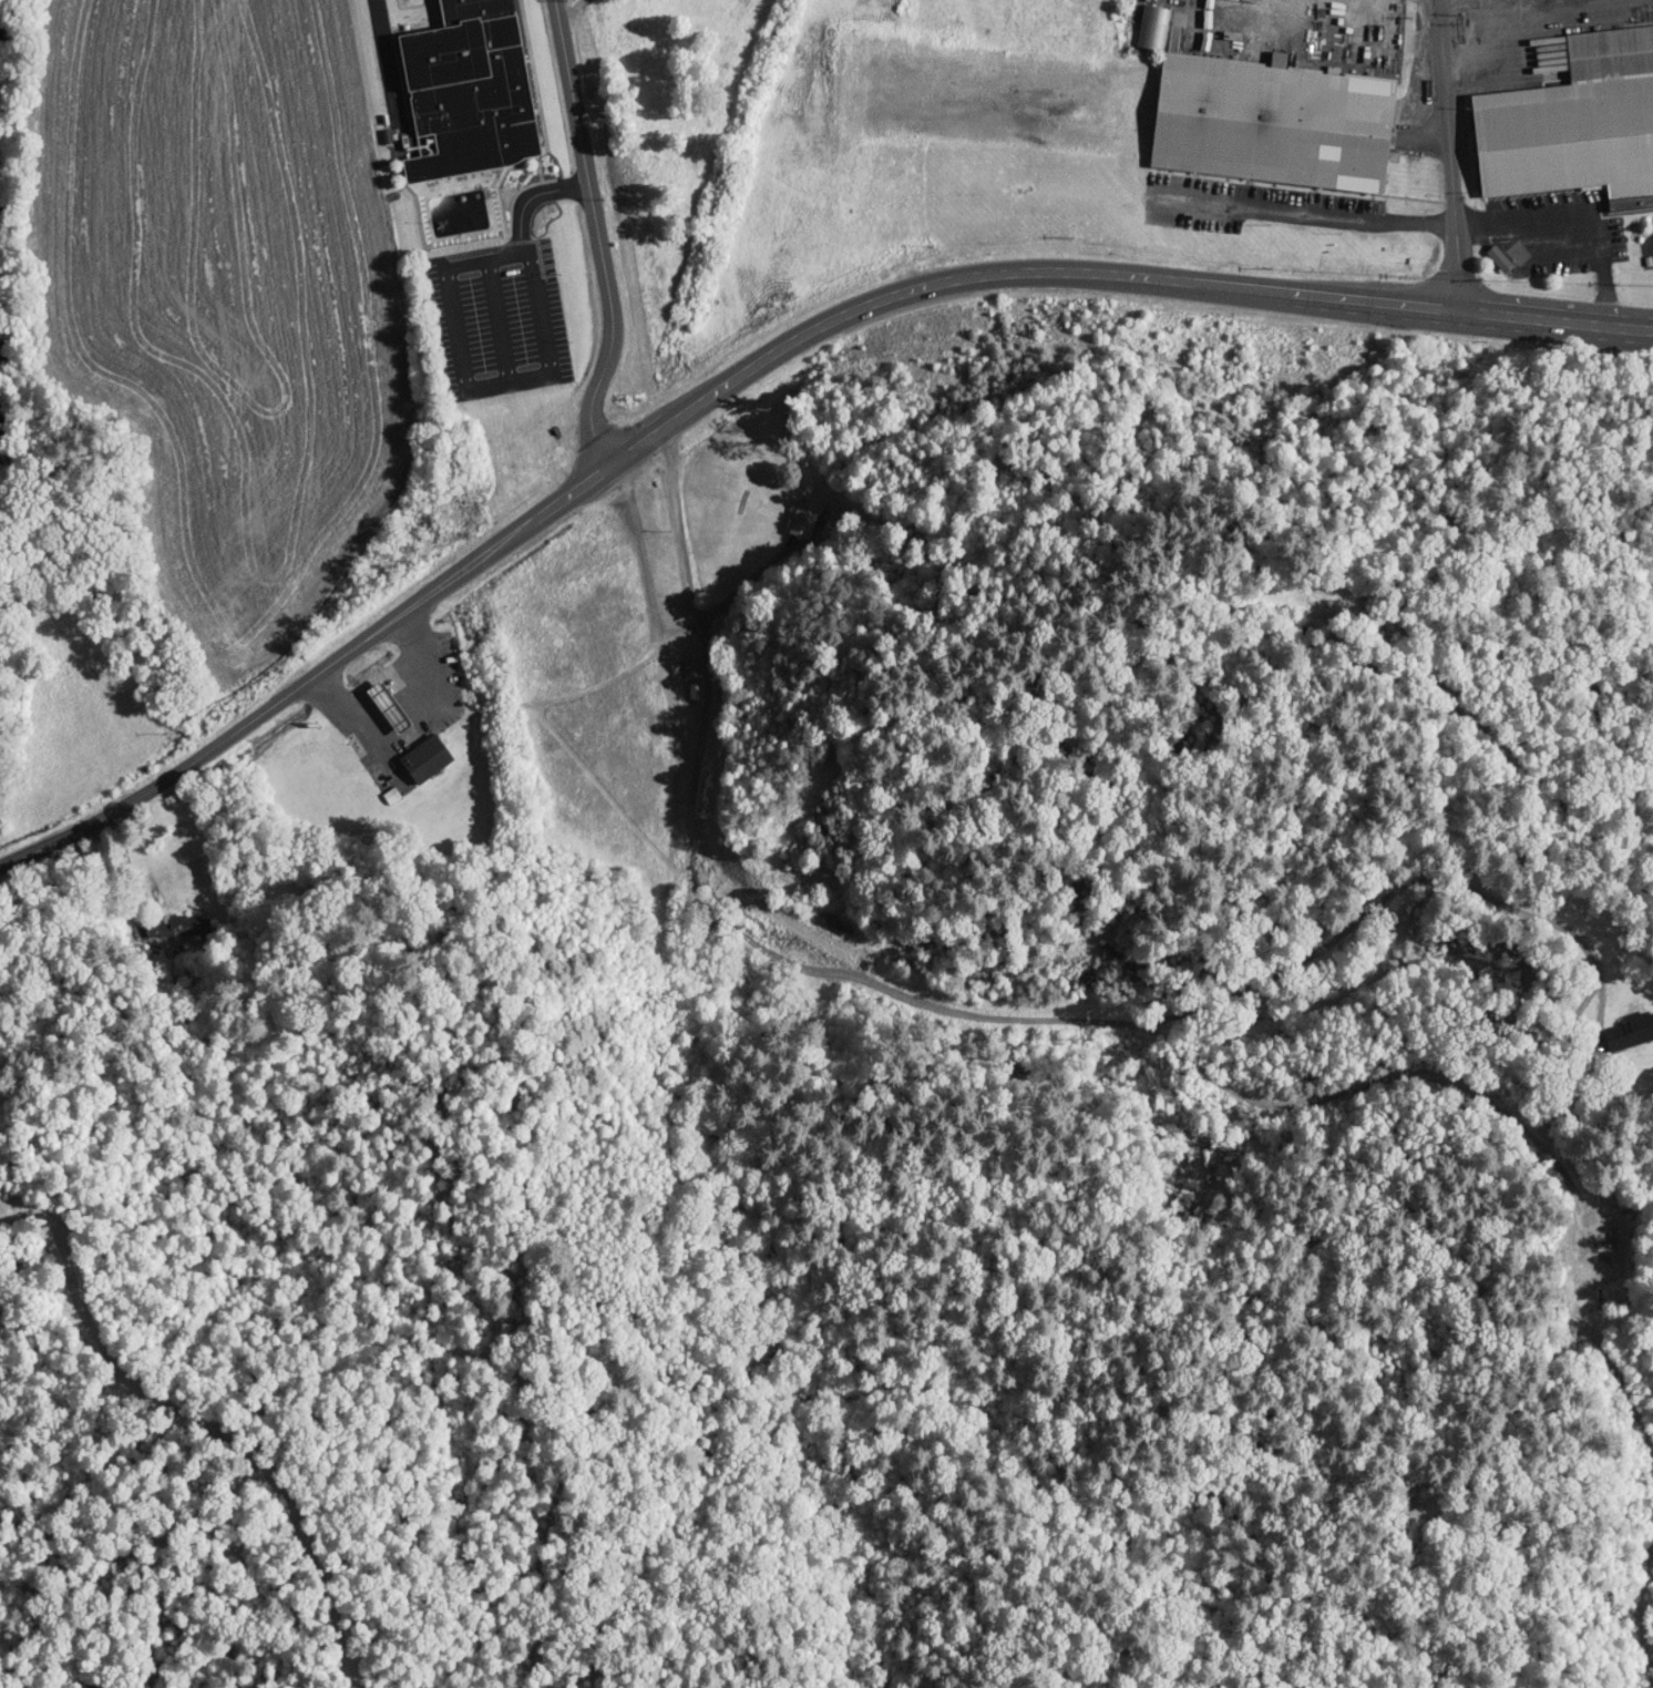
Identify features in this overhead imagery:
road: (1464, 30)
building: (465, 96)
building: (1265, 120)
building: (1572, 120)
road: (1449, 154)
road: (528, 196)
road: (1323, 213)
road: (1570, 229)
road: (594, 235)
road: (1650, 244)
road: (1077, 273)
parking lot: (495, 318)
road: (496, 318)
road: (1592, 326)
road: (473, 382)
road: (577, 484)
building: (804, 518)
road: (705, 656)
building: (690, 666)
building: (384, 705)
road: (255, 717)
building: (424, 756)
road: (126, 865)
road: (1250, 985)
building: (1628, 1030)
building: (1609, 1262)

